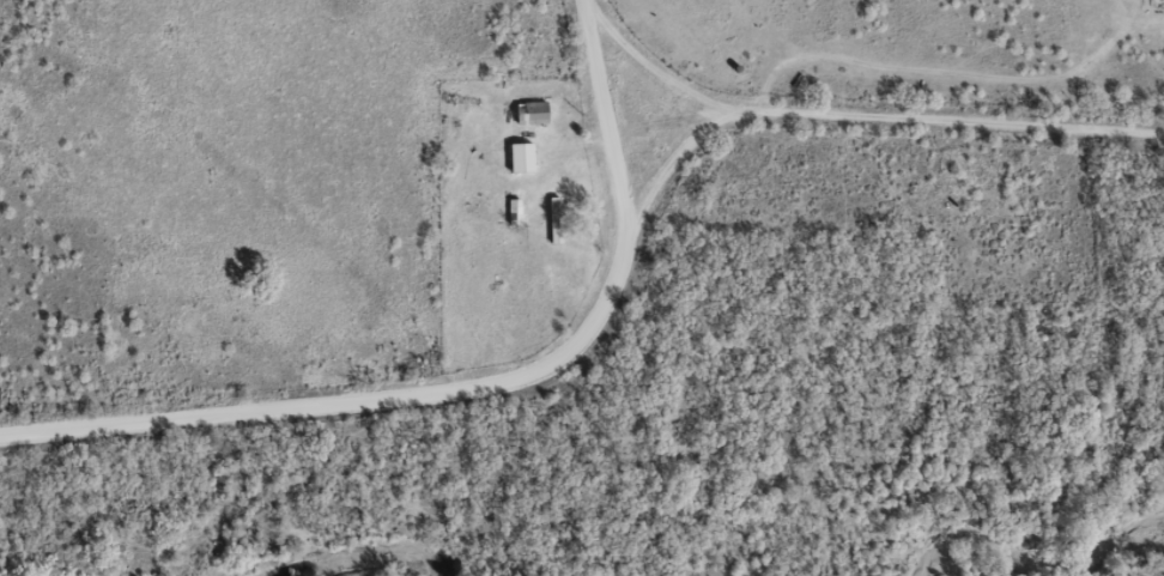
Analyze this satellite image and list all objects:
road: (679, 51)
building: (534, 113)
road: (966, 120)
road: (614, 133)
road: (677, 156)
building: (522, 158)
building: (514, 211)
road: (350, 402)

